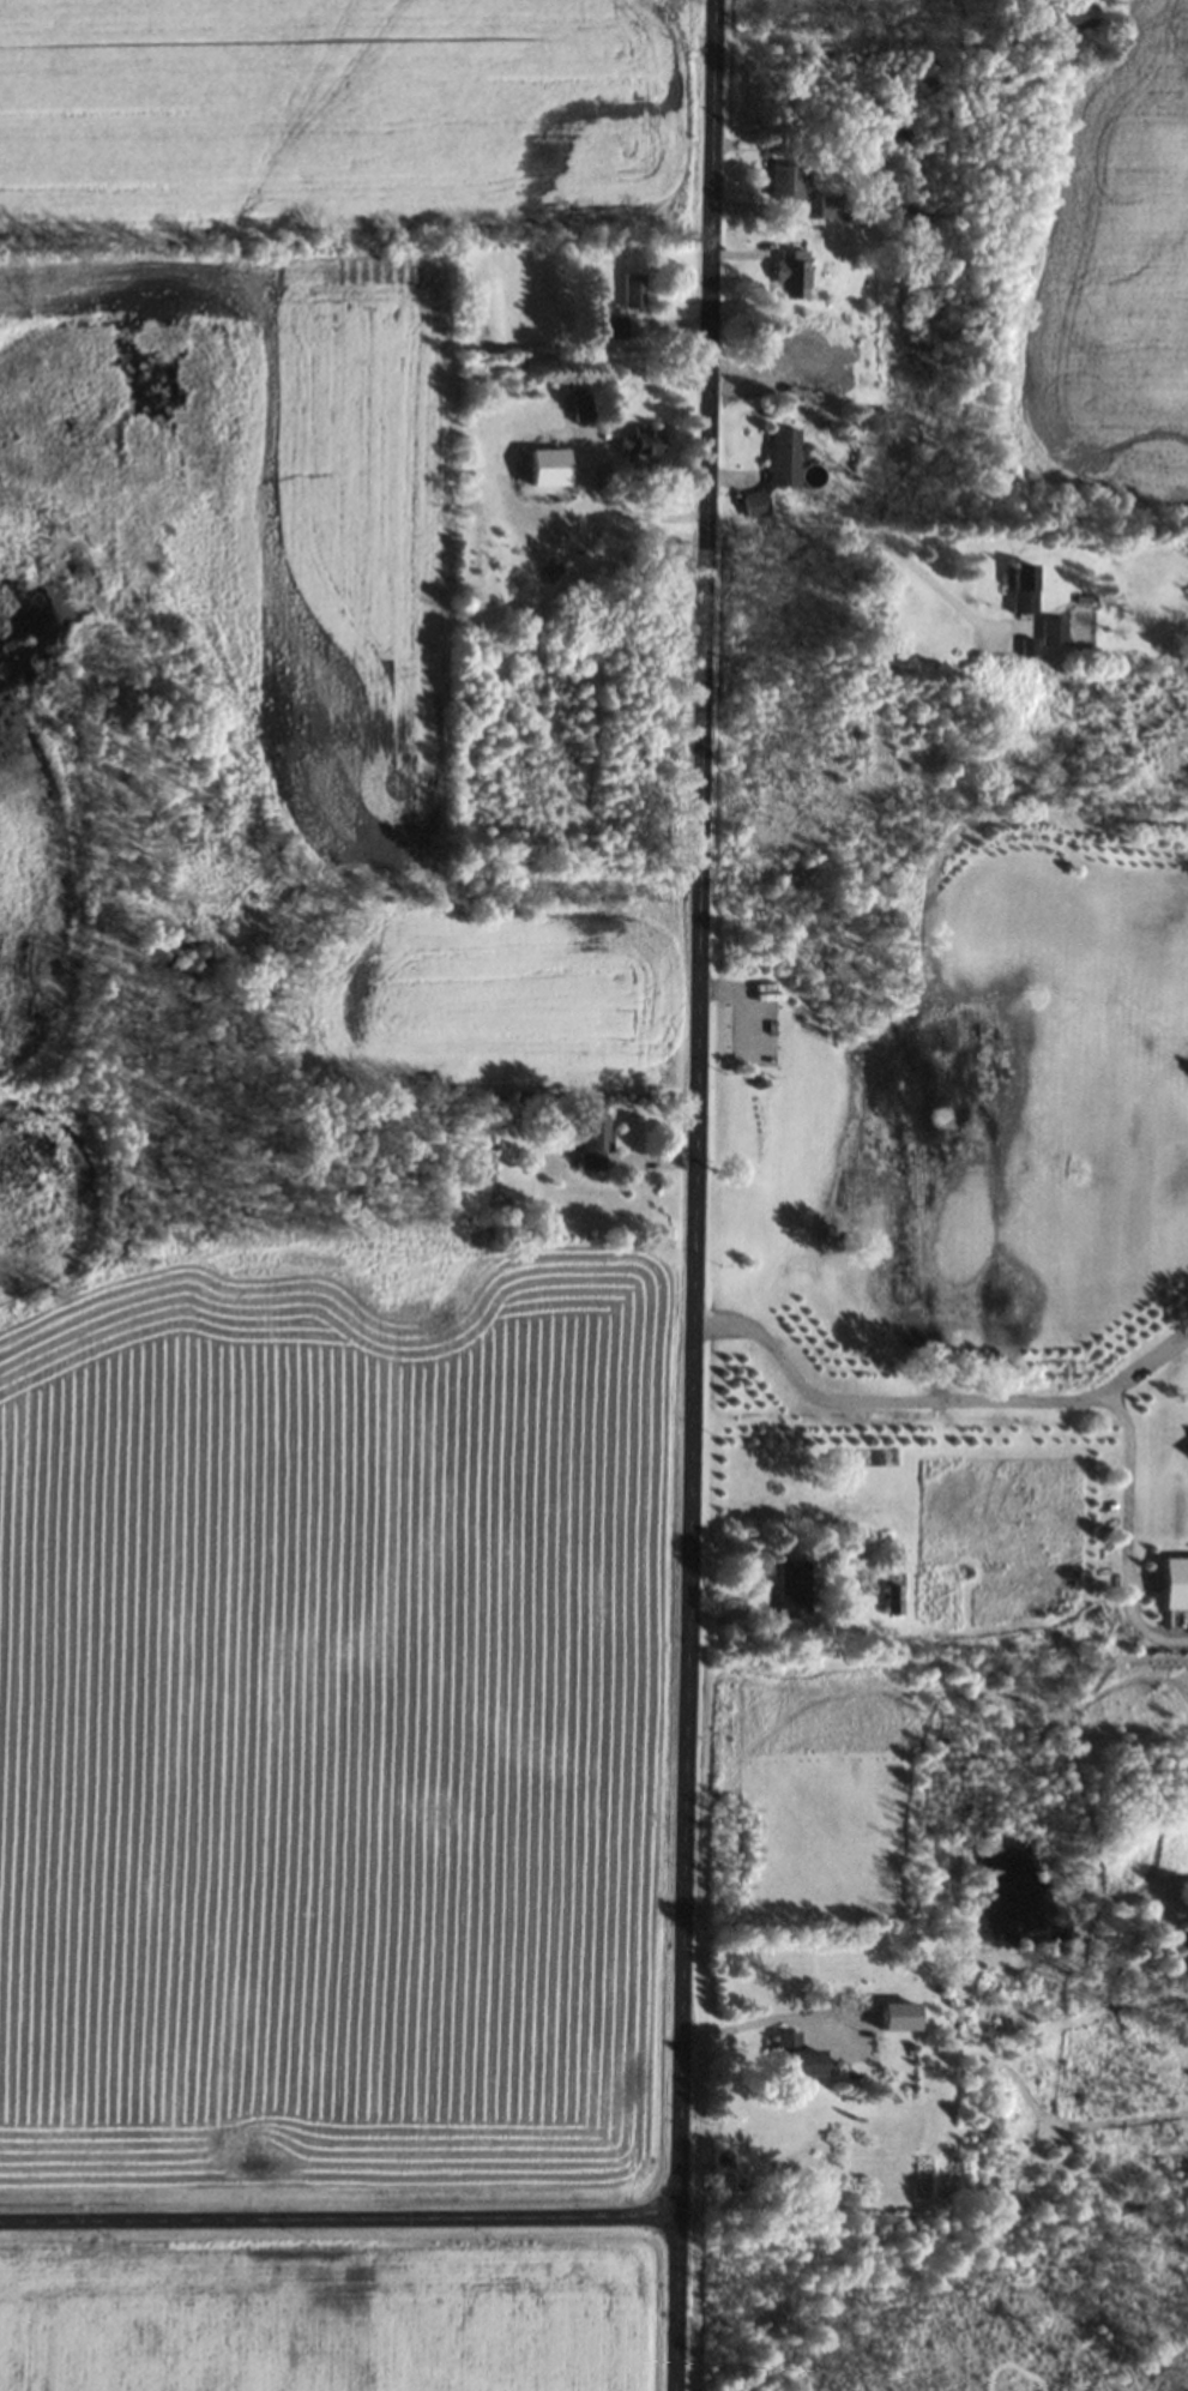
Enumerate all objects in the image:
building: (1067, 18)
building: (784, 182)
building: (828, 206)
building: (788, 273)
building: (632, 290)
building: (824, 365)
building: (638, 445)
building: (780, 457)
building: (754, 504)
building: (1021, 592)
building: (1050, 631)
building: (1013, 654)
building: (590, 1142)
road: (696, 1195)
road: (937, 1395)
building: (1187, 1446)
building: (1172, 1583)
building: (790, 1589)
building: (893, 2016)
building: (794, 2055)
road: (339, 2215)

